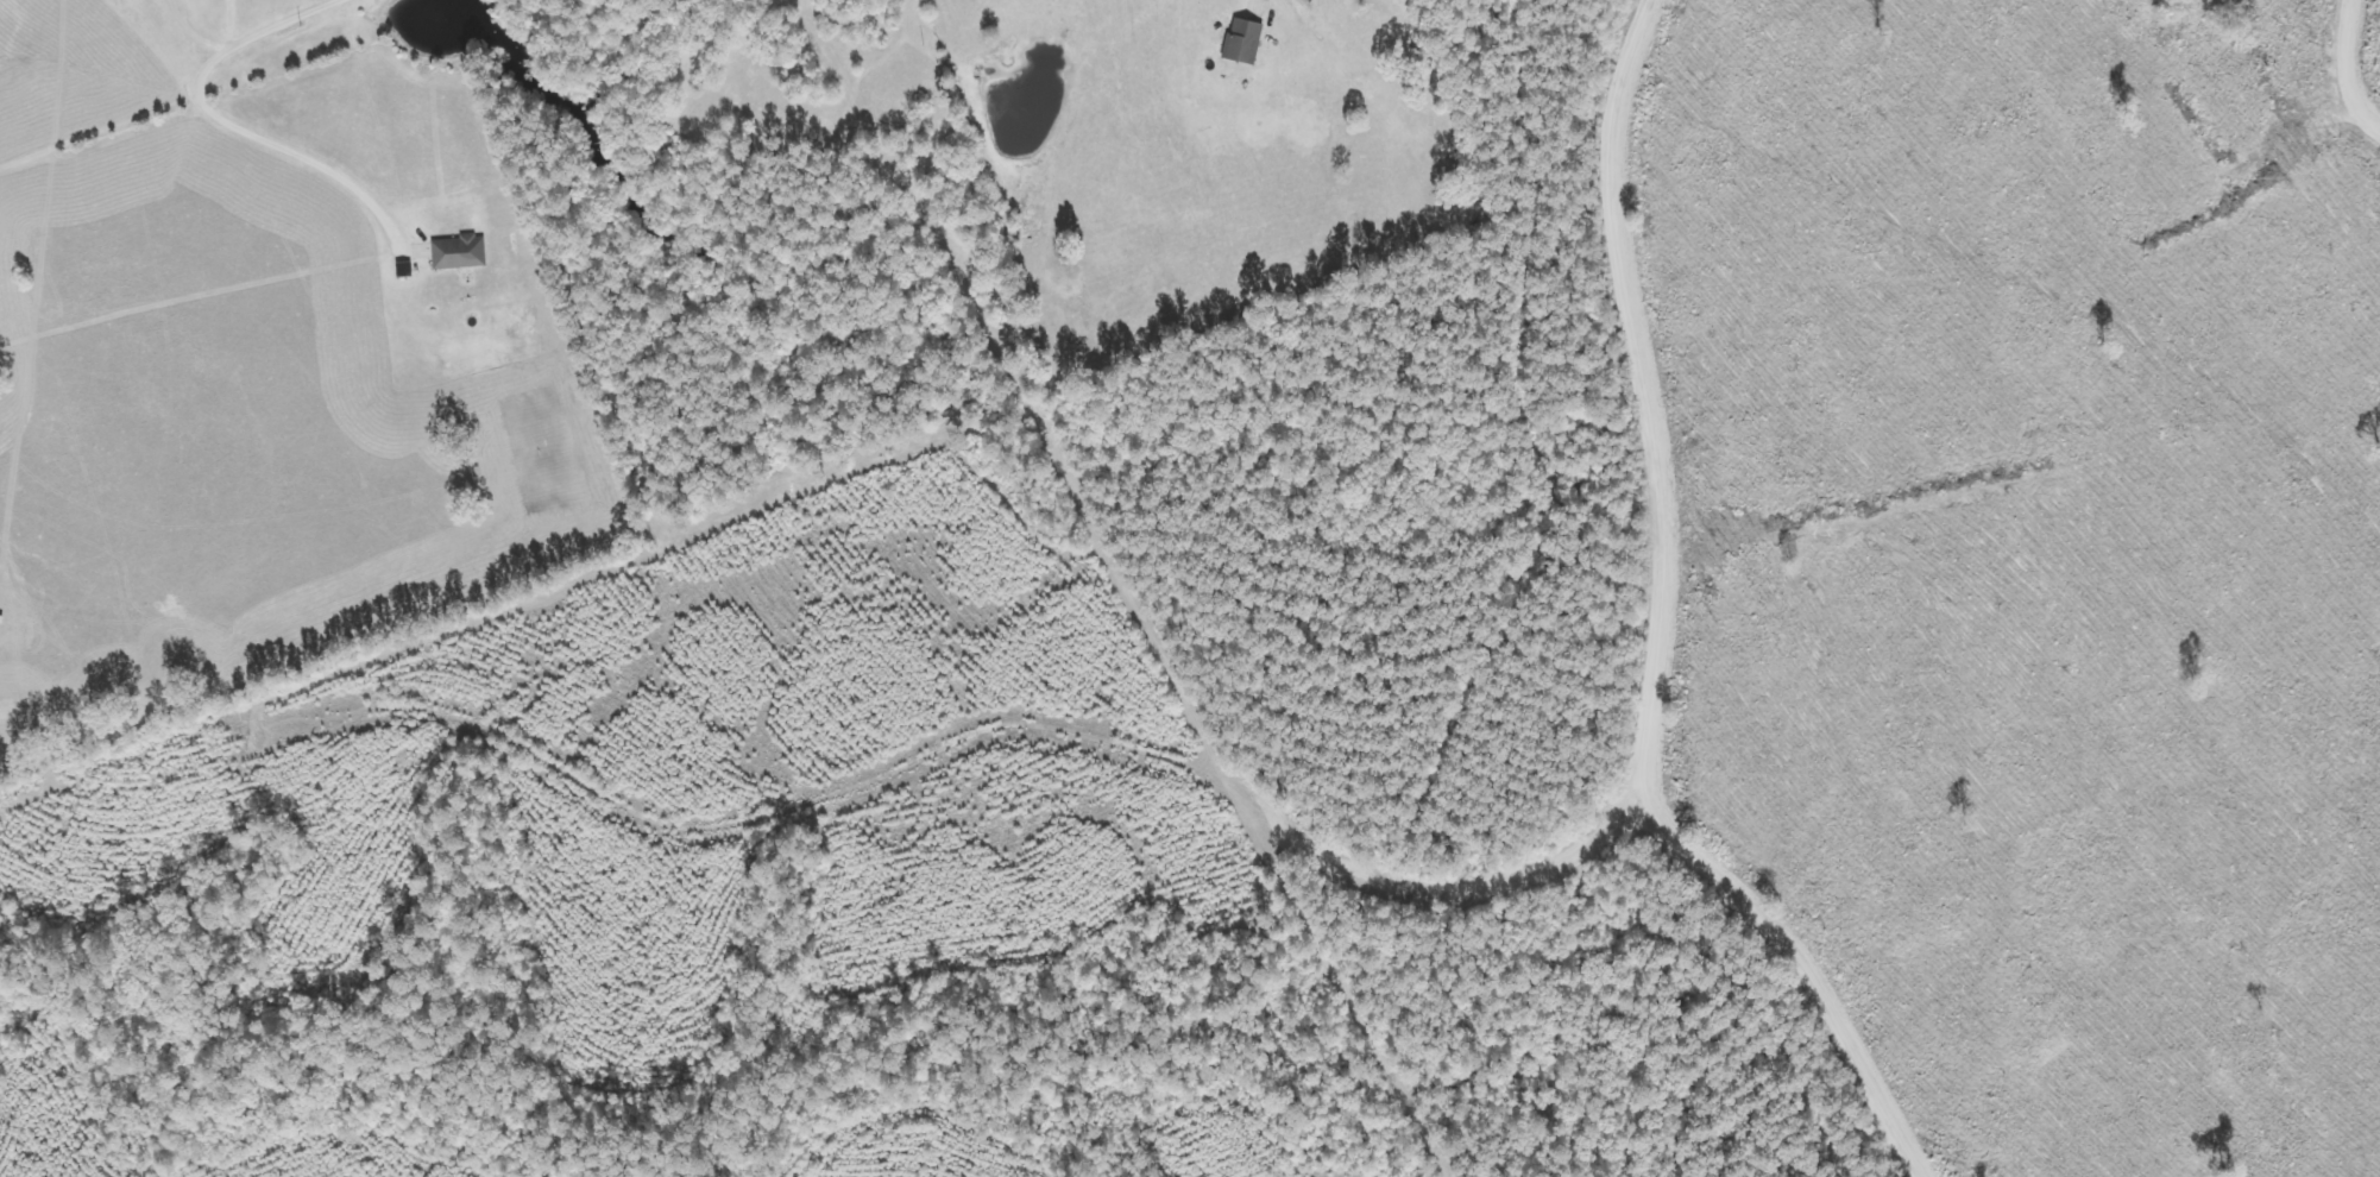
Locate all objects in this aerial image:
building: (1243, 42)
road: (2349, 71)
building: (459, 252)
road: (1644, 392)
road: (1795, 970)

